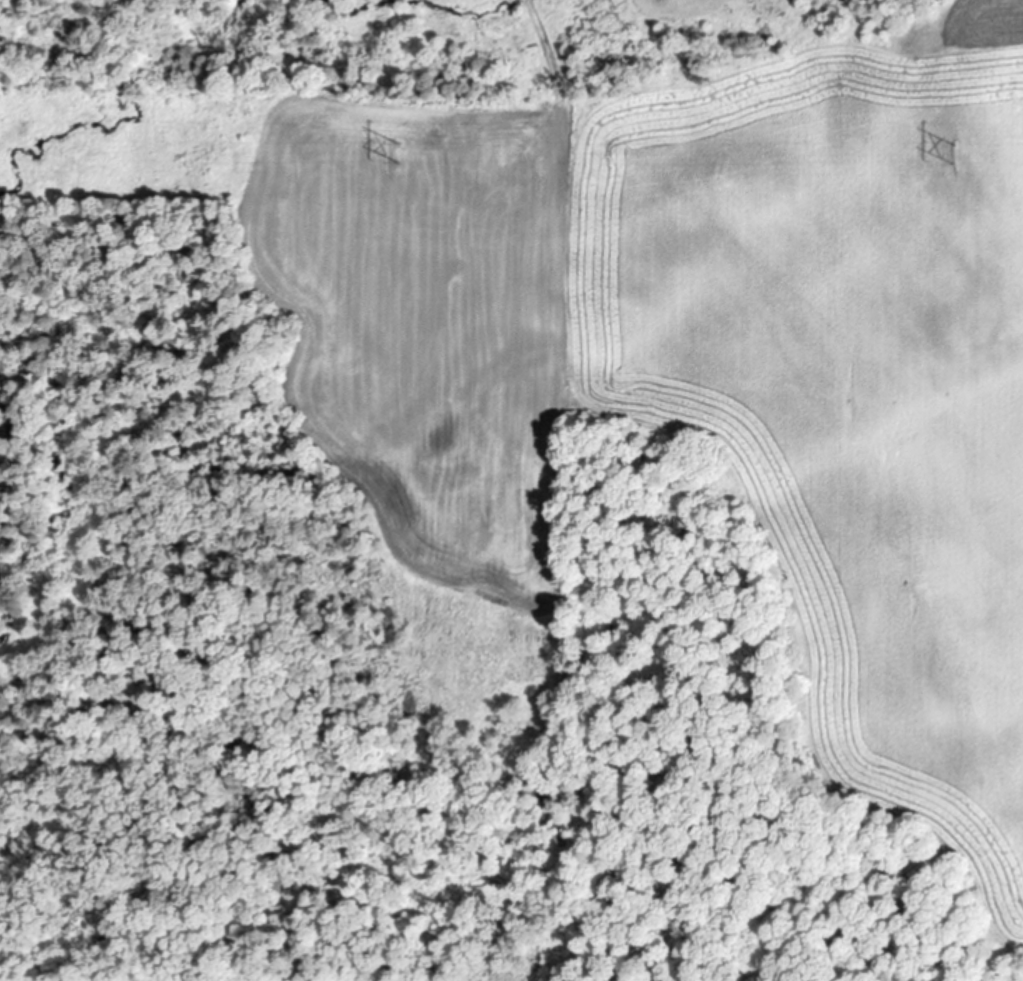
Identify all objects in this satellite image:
power tower: (399, 151)
power tower: (956, 154)

